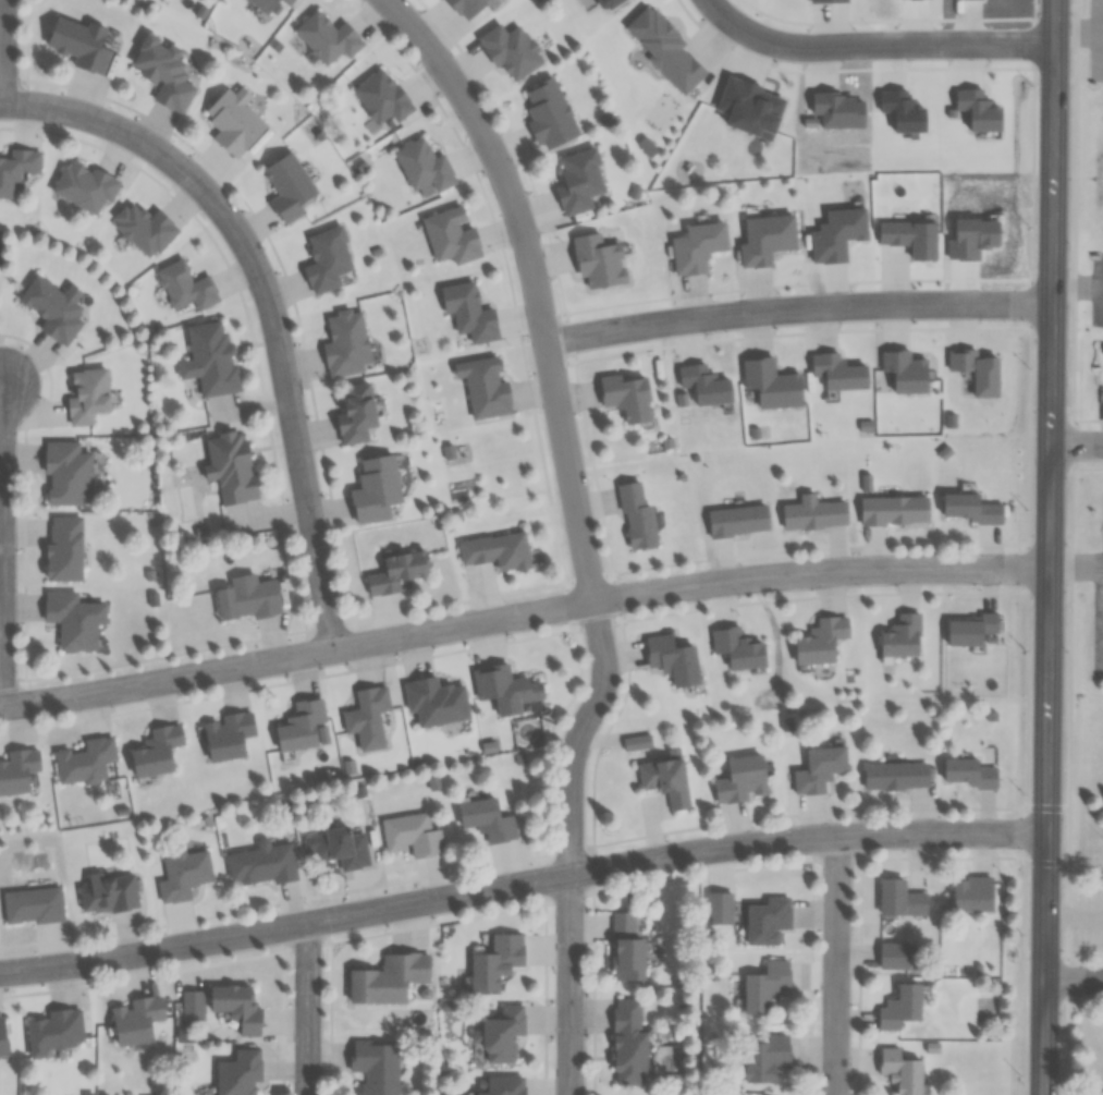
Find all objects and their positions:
building: (284, 2)
building: (262, 4)
building: (464, 7)
road: (1028, 23)
road: (1078, 31)
building: (324, 37)
road: (1101, 38)
parking lot: (1094, 39)
building: (77, 42)
road: (877, 46)
building: (508, 49)
road: (3, 50)
building: (162, 73)
street lamp: (1033, 83)
building: (380, 96)
road: (1, 101)
building: (547, 113)
building: (231, 121)
building: (16, 168)
building: (422, 168)
building: (577, 180)
building: (286, 185)
building: (83, 186)
building: (143, 229)
building: (450, 235)
building: (764, 239)
building: (696, 246)
building: (324, 258)
building: (597, 260)
road: (535, 282)
building: (184, 287)
parking lot: (1094, 292)
road: (266, 300)
building: (51, 308)
road: (797, 308)
building: (467, 312)
building: (345, 343)
building: (211, 357)
building: (1100, 357)
street lamp: (1030, 364)
building: (836, 370)
building: (904, 370)
building: (969, 375)
building: (770, 382)
building: (703, 385)
building: (482, 386)
building: (85, 394)
building: (624, 396)
parking lot: (1098, 404)
building: (354, 412)
road: (1067, 434)
road: (1024, 439)
road: (1077, 443)
building: (229, 466)
building: (64, 473)
building: (373, 488)
street lamp: (1029, 508)
building: (892, 510)
building: (812, 513)
building: (964, 514)
building: (635, 516)
building: (736, 520)
building: (1102, 537)
road: (1, 547)
road: (1050, 547)
building: (63, 549)
building: (495, 550)
building: (395, 571)
road: (817, 597)
building: (246, 598)
road: (522, 612)
building: (73, 619)
parking lot: (1095, 633)
building: (902, 635)
building: (965, 635)
building: (819, 640)
building: (736, 648)
building: (671, 659)
building: (503, 689)
building: (434, 701)
building: (367, 716)
building: (993, 716)
building: (299, 725)
road: (551, 729)
building: (226, 735)
building: (155, 751)
building: (85, 761)
building: (17, 770)
building: (971, 771)
building: (897, 774)
building: (810, 776)
building: (664, 780)
building: (734, 787)
street lamp: (1024, 790)
building: (485, 819)
road: (686, 831)
road: (1033, 832)
building: (412, 834)
road: (1018, 836)
road: (567, 844)
building: (336, 845)
road: (1005, 856)
building: (260, 864)
building: (183, 874)
road: (507, 886)
building: (108, 892)
building: (899, 899)
building: (964, 900)
building: (32, 905)
parking lot: (1087, 917)
building: (767, 920)
street lamp: (1022, 934)
building: (625, 948)
road: (804, 953)
road: (1081, 959)
building: (494, 961)
road: (1017, 963)
road: (835, 965)
building: (388, 977)
road: (853, 977)
road: (1075, 977)
building: (764, 986)
building: (235, 1006)
building: (899, 1007)
road: (308, 1008)
road: (283, 1010)
building: (134, 1019)
road: (1059, 1027)
building: (53, 1031)
building: (501, 1034)
building: (1, 1037)
building: (627, 1043)
building: (763, 1059)
building: (375, 1066)
building: (899, 1071)
building: (238, 1072)
building: (501, 1086)

